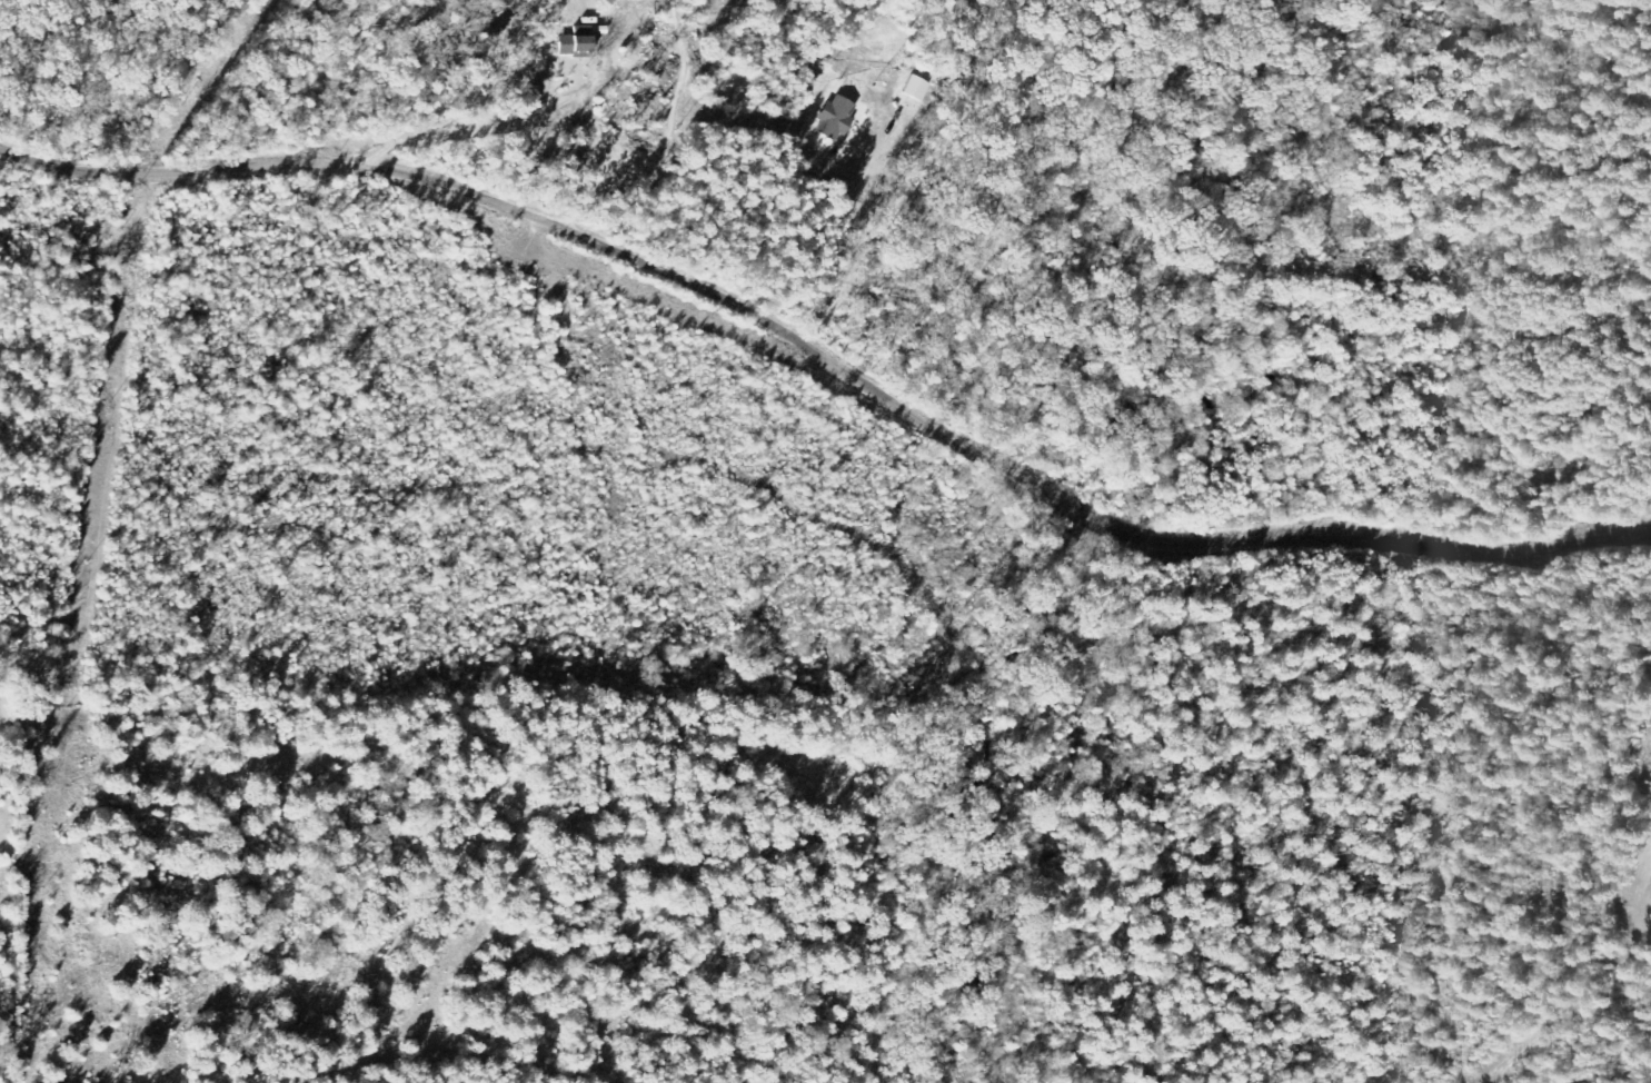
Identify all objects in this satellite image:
building: (581, 44)
building: (841, 117)
road: (831, 371)
road: (141, 578)
road: (435, 1027)

